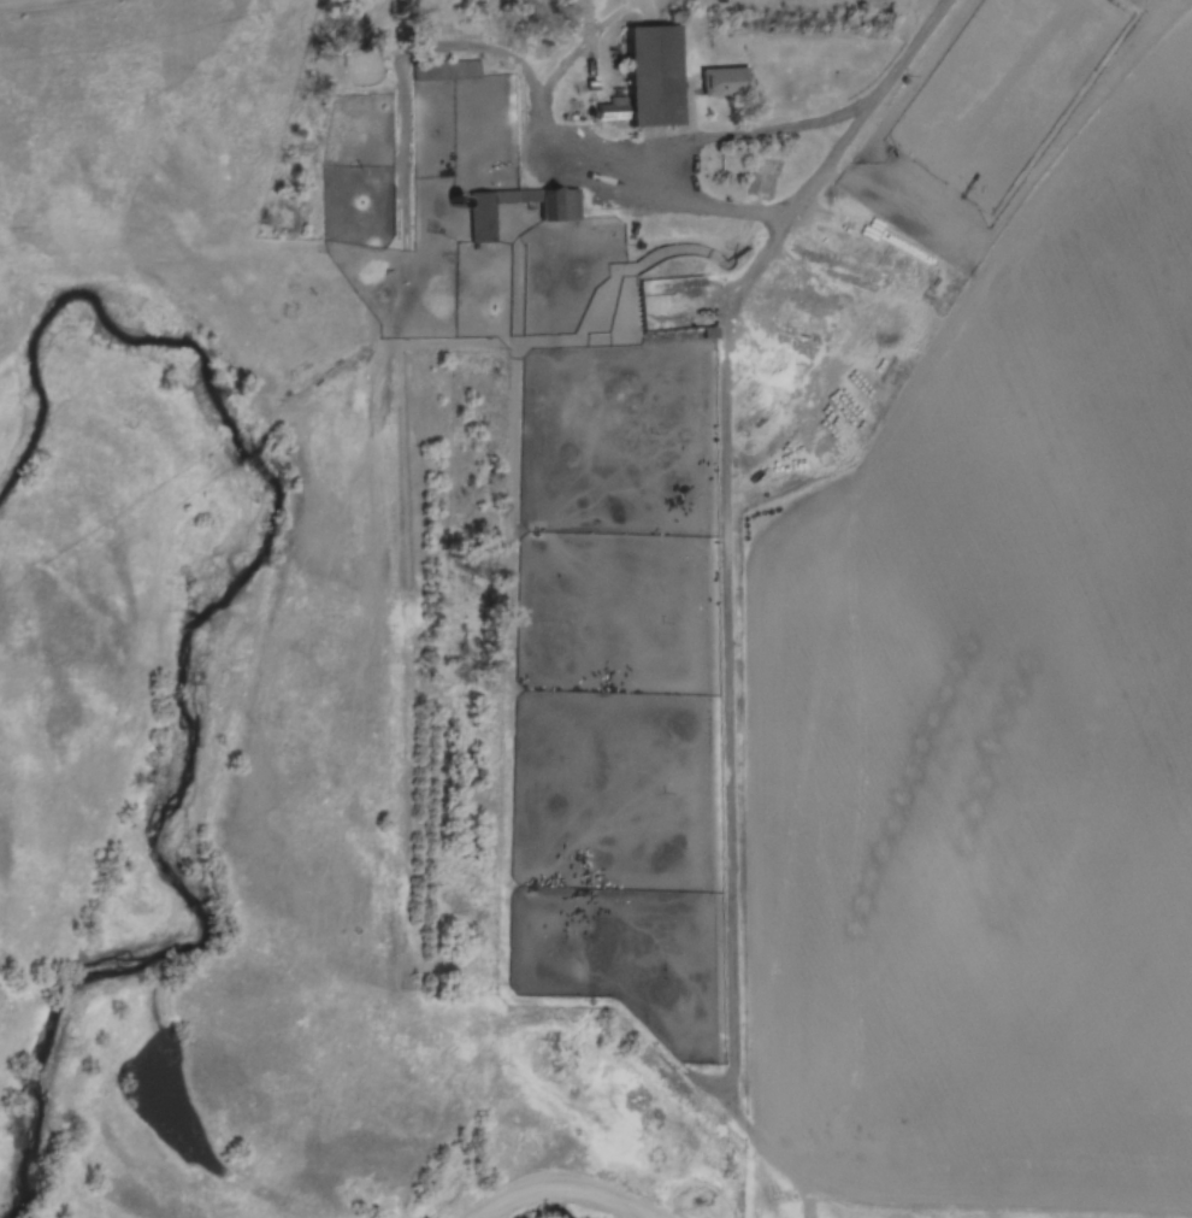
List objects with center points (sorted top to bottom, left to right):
crop: (30, 4)
building: (449, 67)
building: (654, 75)
building: (725, 78)
road: (775, 131)
building: (560, 211)
building: (673, 304)
road: (732, 555)
crop: (997, 723)
road: (572, 1183)

